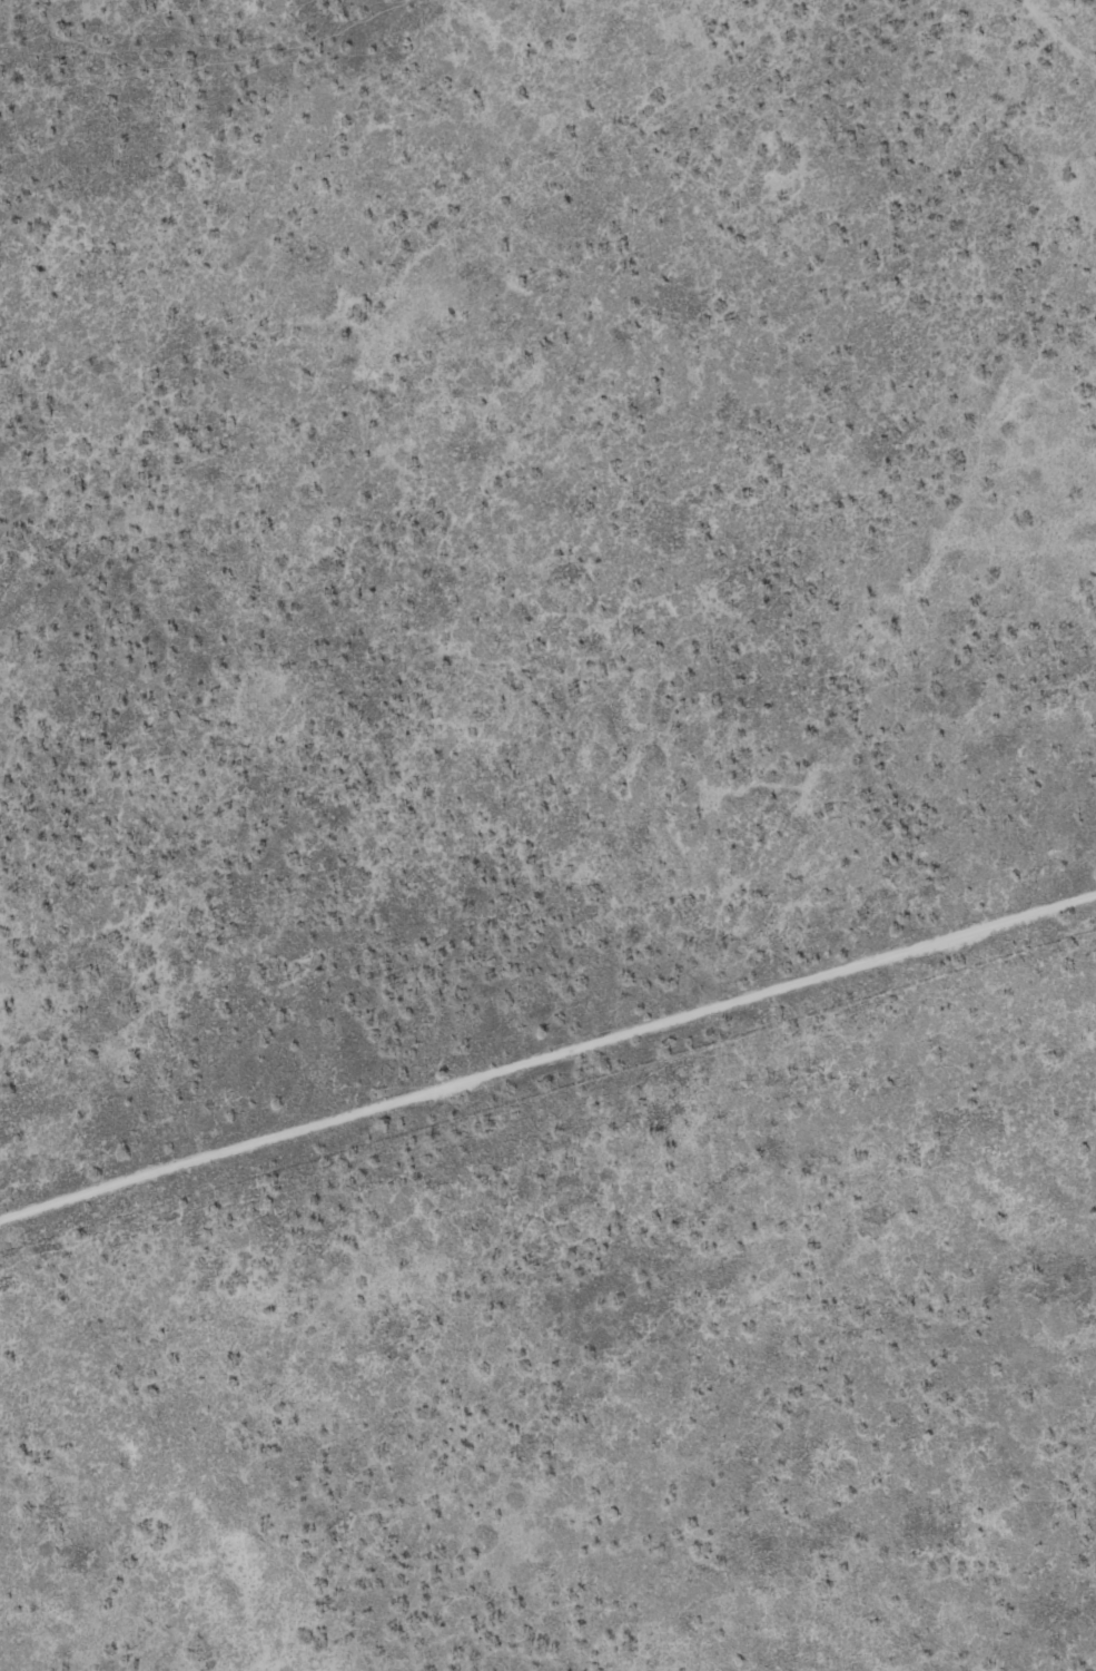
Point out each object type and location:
road: (547, 1055)

